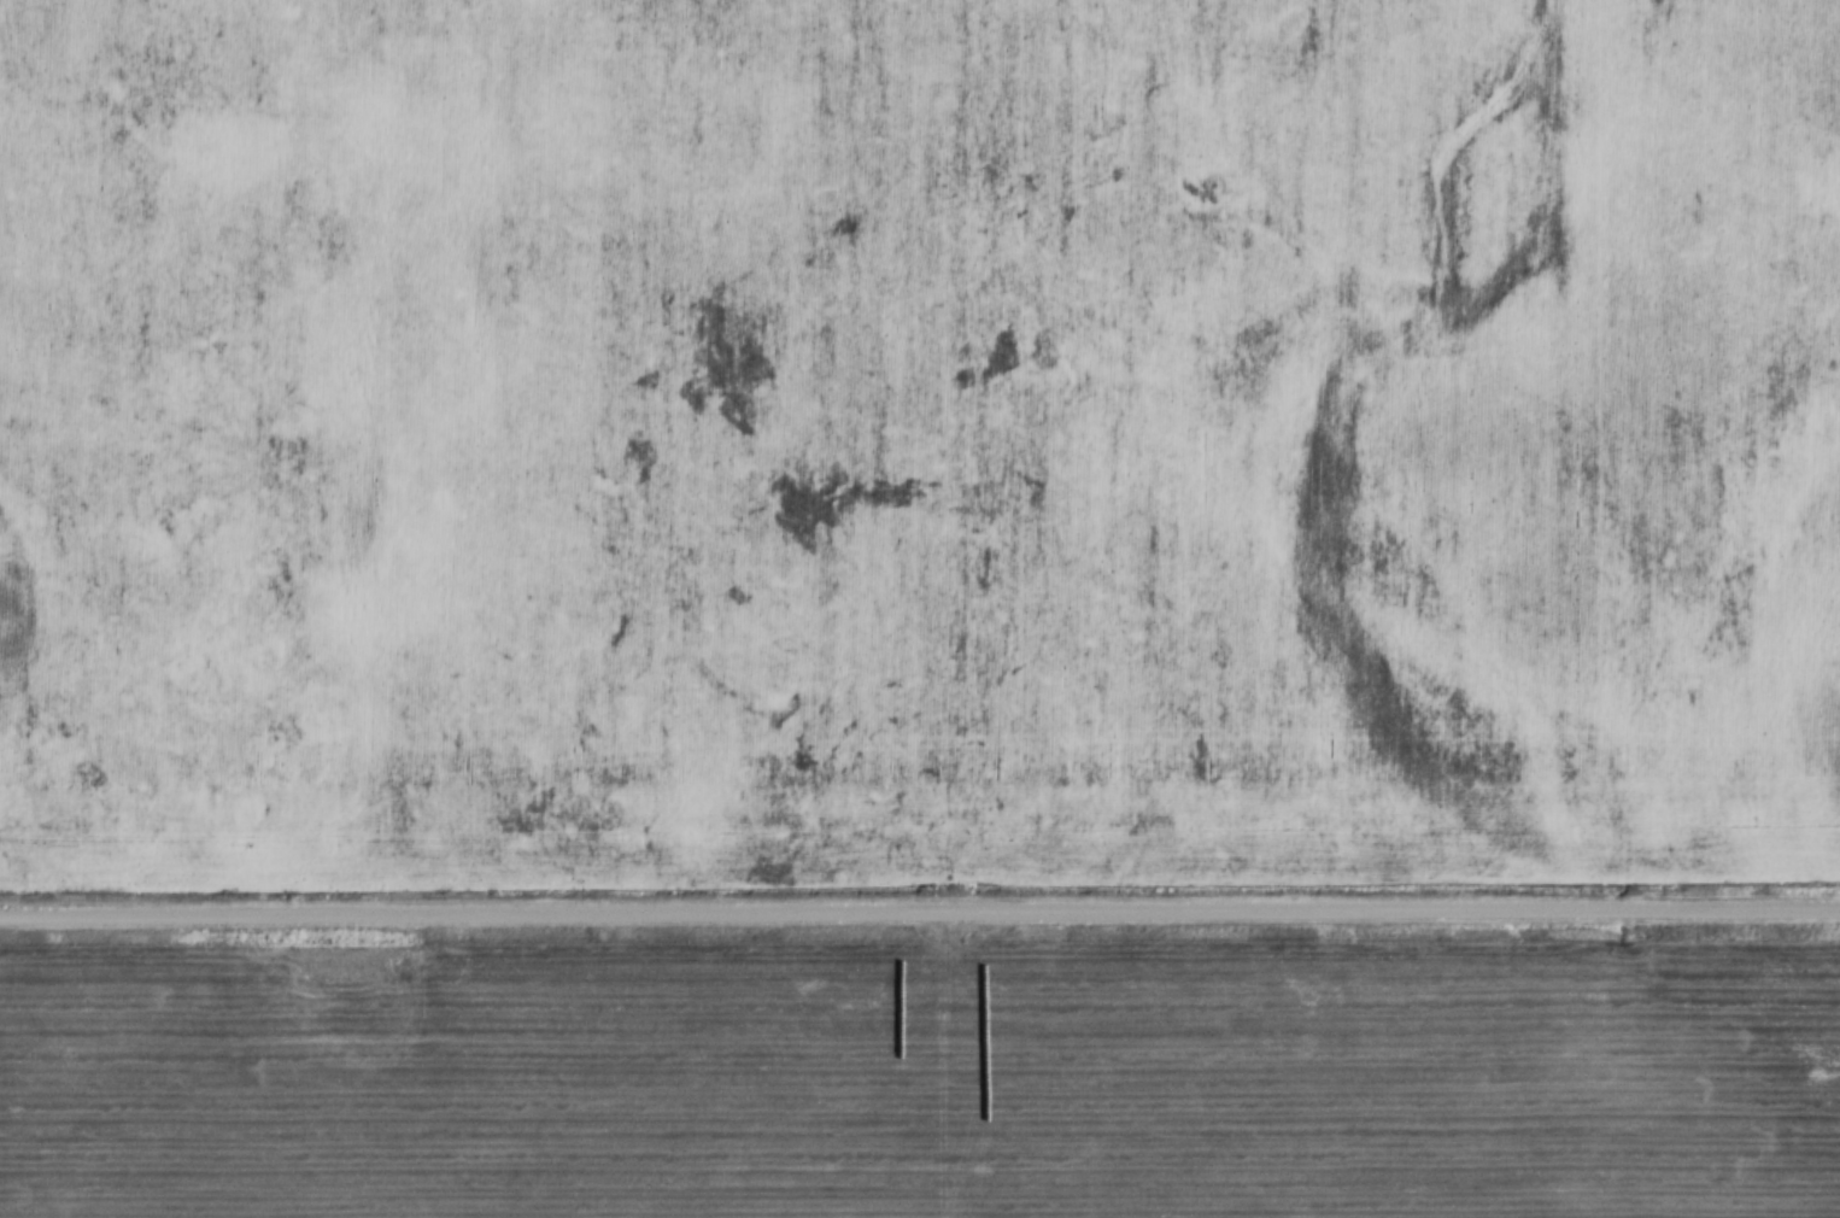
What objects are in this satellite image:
road: (920, 913)

